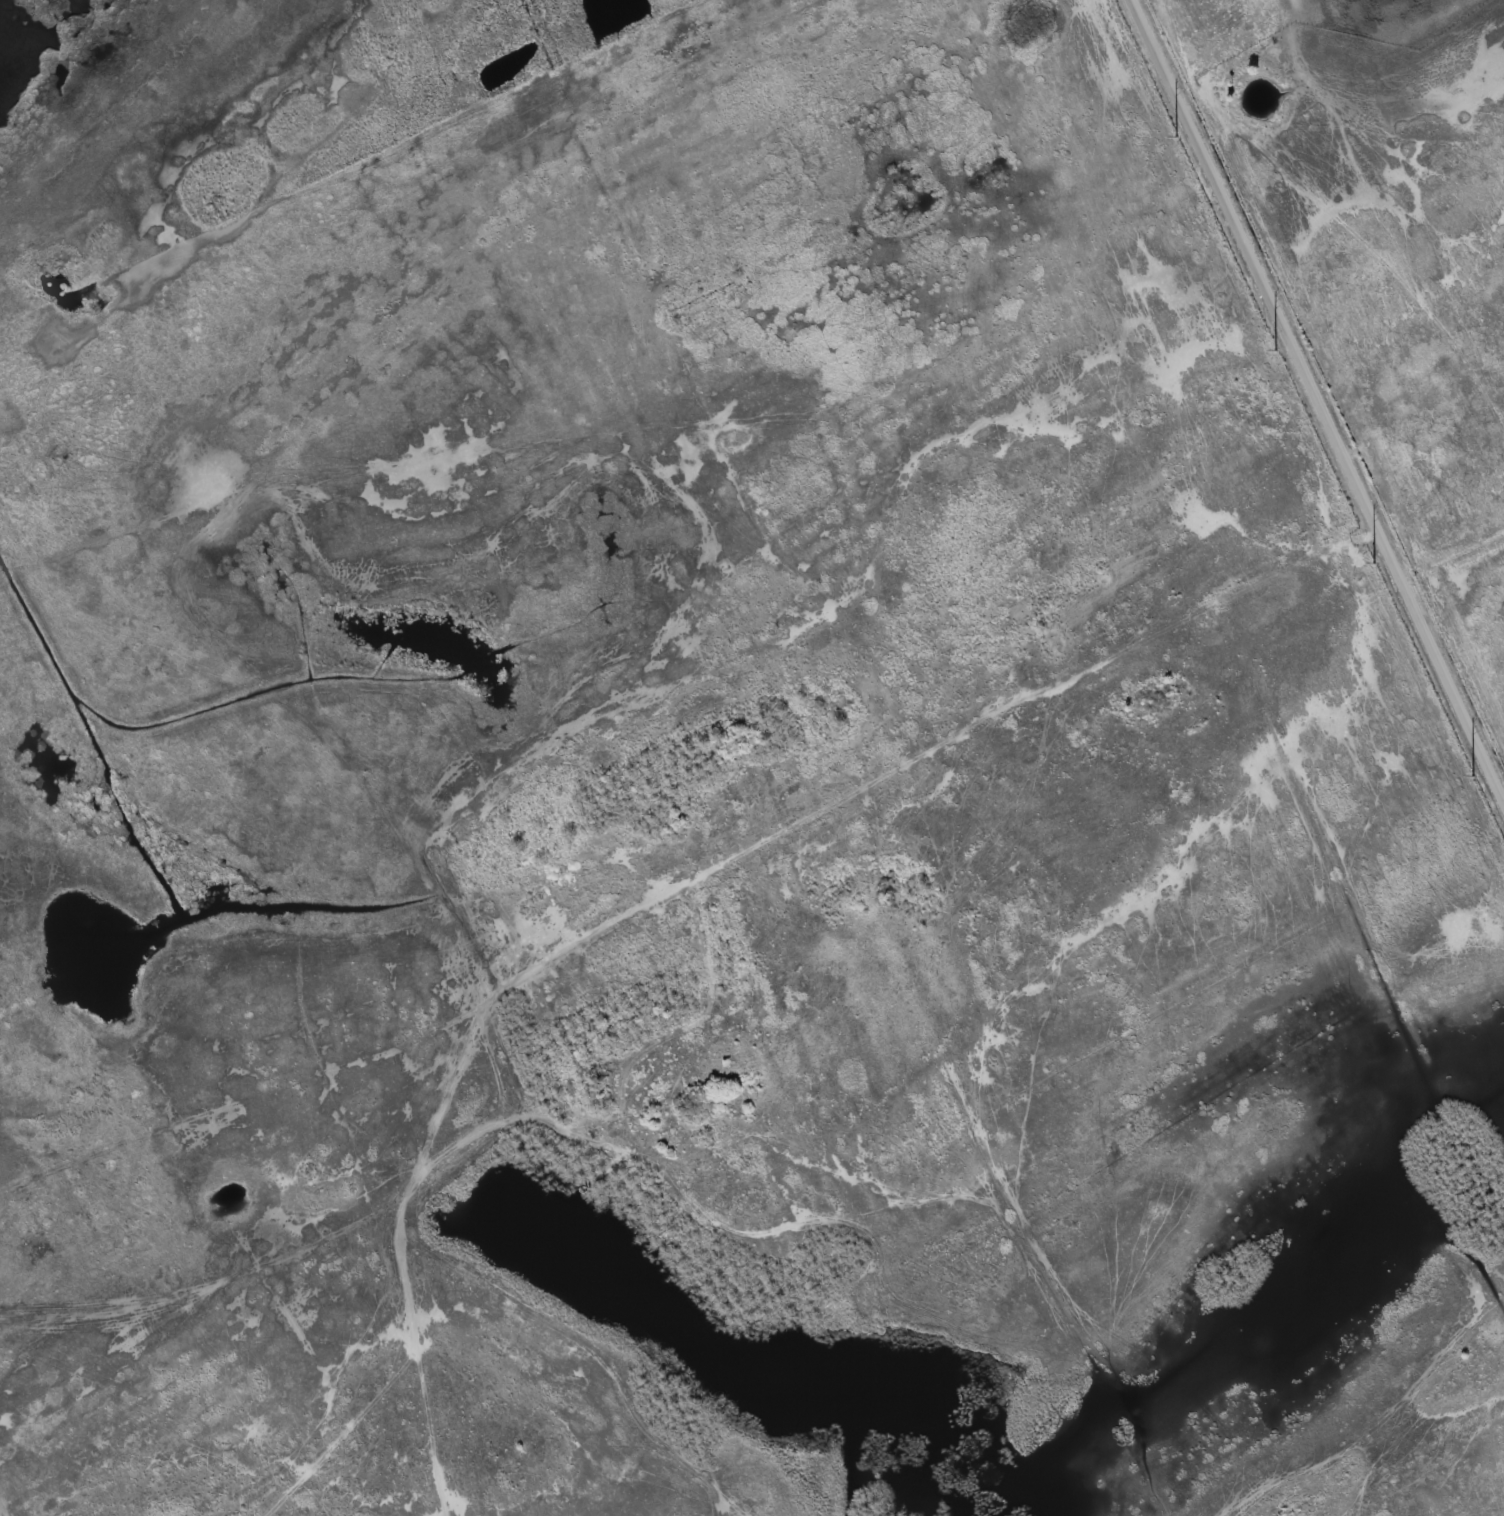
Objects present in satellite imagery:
road: (1318, 400)

